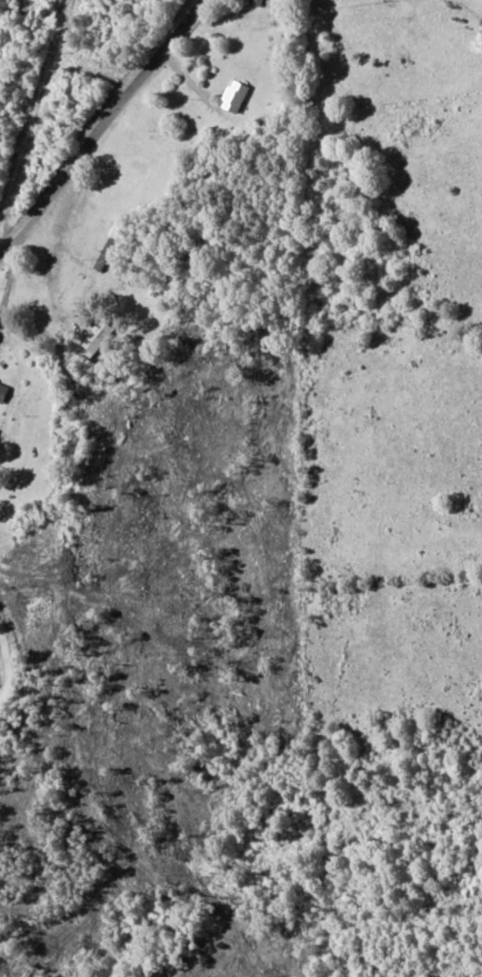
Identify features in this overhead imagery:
building: (257, 2)
building: (234, 96)
road: (96, 146)
building: (96, 335)
building: (3, 391)

